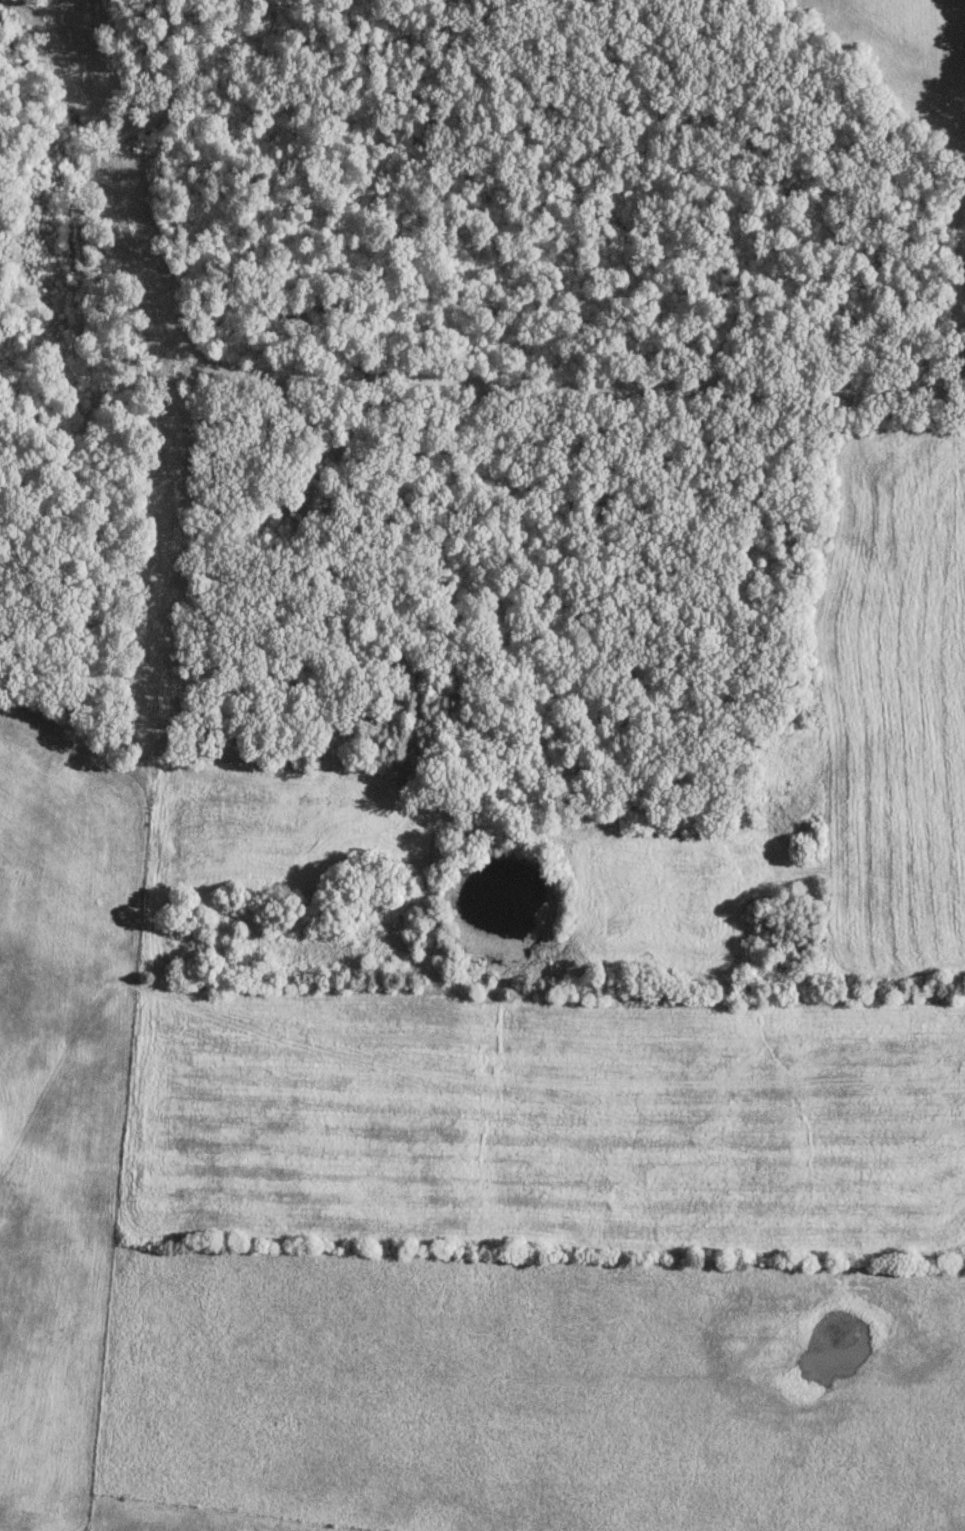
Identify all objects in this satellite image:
crop: (886, 693)

